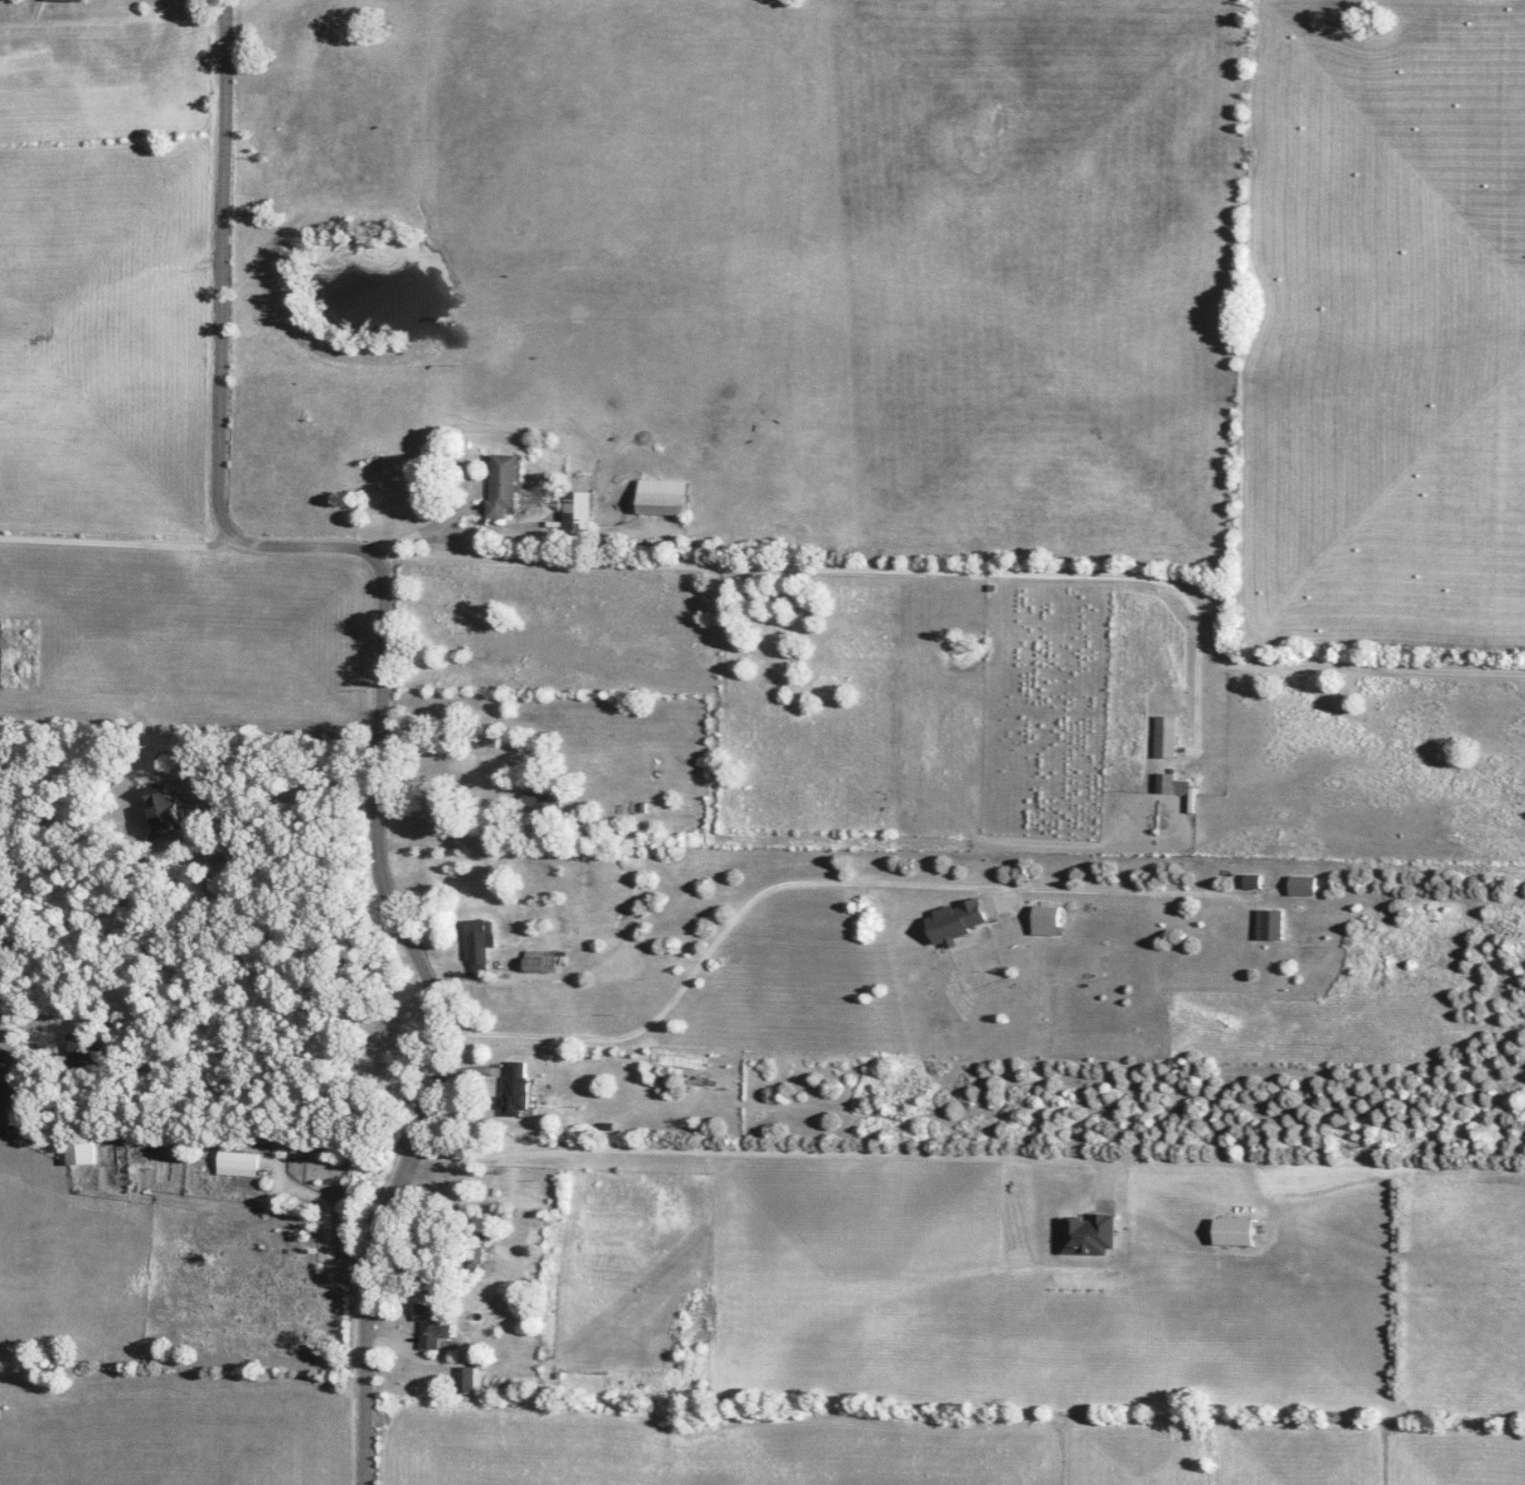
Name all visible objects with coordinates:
road: (215, 350)
building: (376, 459)
building: (503, 484)
building: (663, 497)
building: (578, 510)
road: (115, 541)
road: (976, 575)
road: (1192, 677)
building: (1165, 741)
building: (1171, 784)
road: (259, 790)
building: (545, 799)
road: (505, 802)
building: (166, 806)
building: (239, 859)
road: (811, 880)
building: (1252, 881)
building: (478, 942)
building: (542, 961)
road: (440, 1021)
park: (382, 1026)
building: (515, 1088)
road: (758, 1150)
building: (80, 1151)
building: (243, 1166)
road: (325, 1224)
building: (1232, 1231)
building: (1087, 1234)
building: (477, 1251)
building: (435, 1324)
building: (468, 1379)

